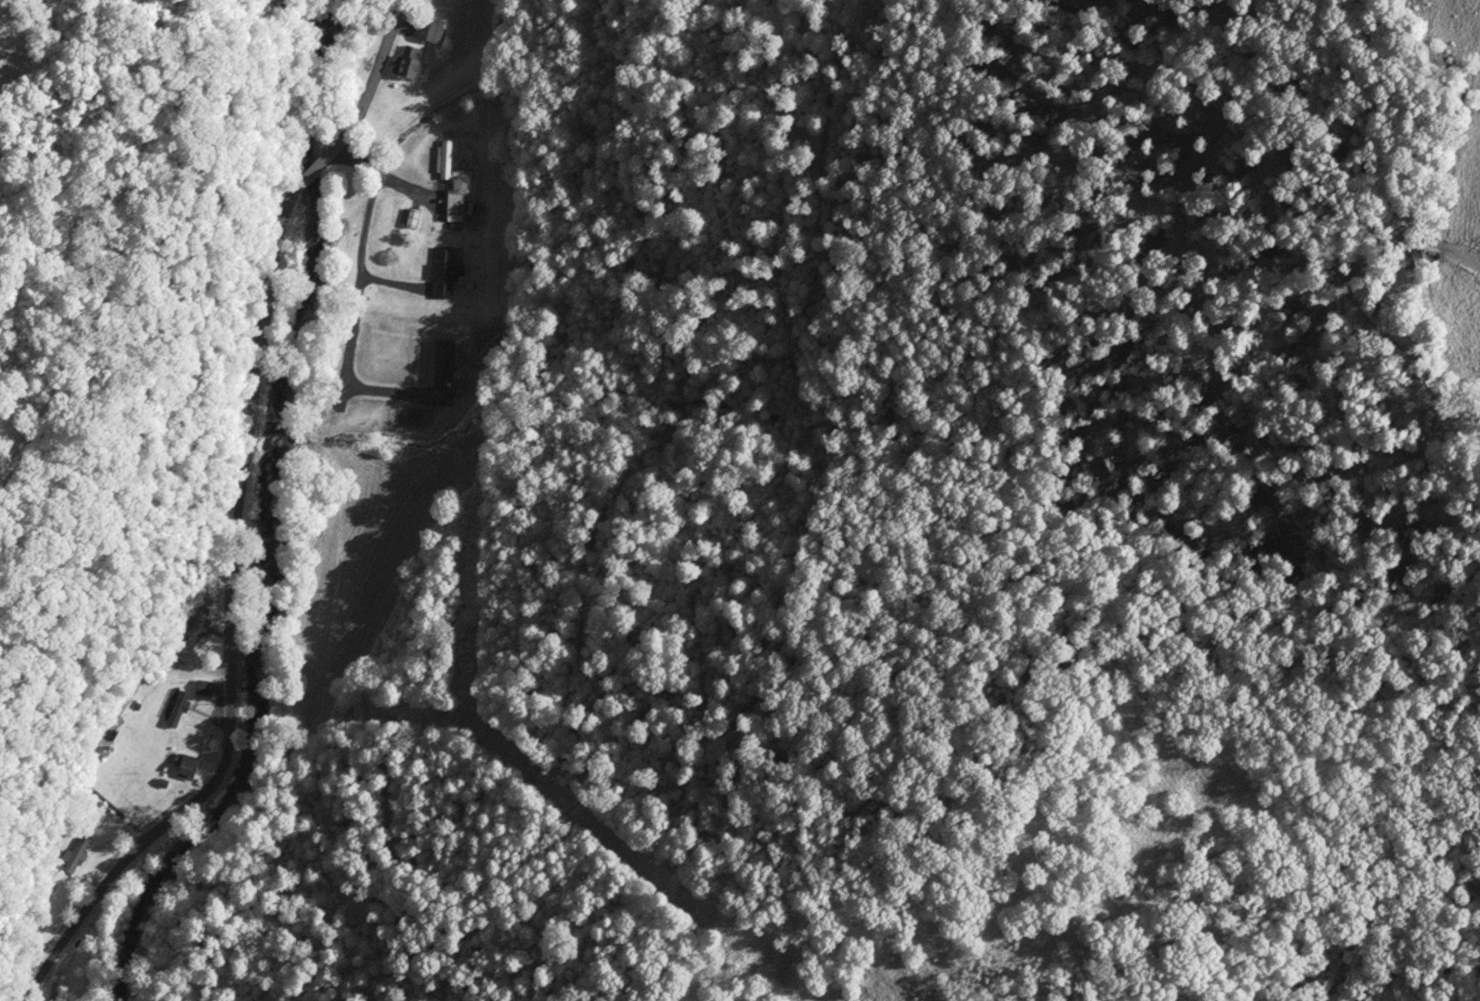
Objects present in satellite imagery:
building: (429, 28)
building: (406, 67)
road: (372, 85)
building: (445, 159)
road: (313, 170)
building: (461, 175)
road: (384, 177)
building: (455, 201)
road: (360, 255)
building: (443, 272)
road: (230, 624)
building: (197, 625)
building: (203, 686)
building: (176, 709)
building: (186, 767)
building: (161, 783)
building: (75, 854)

